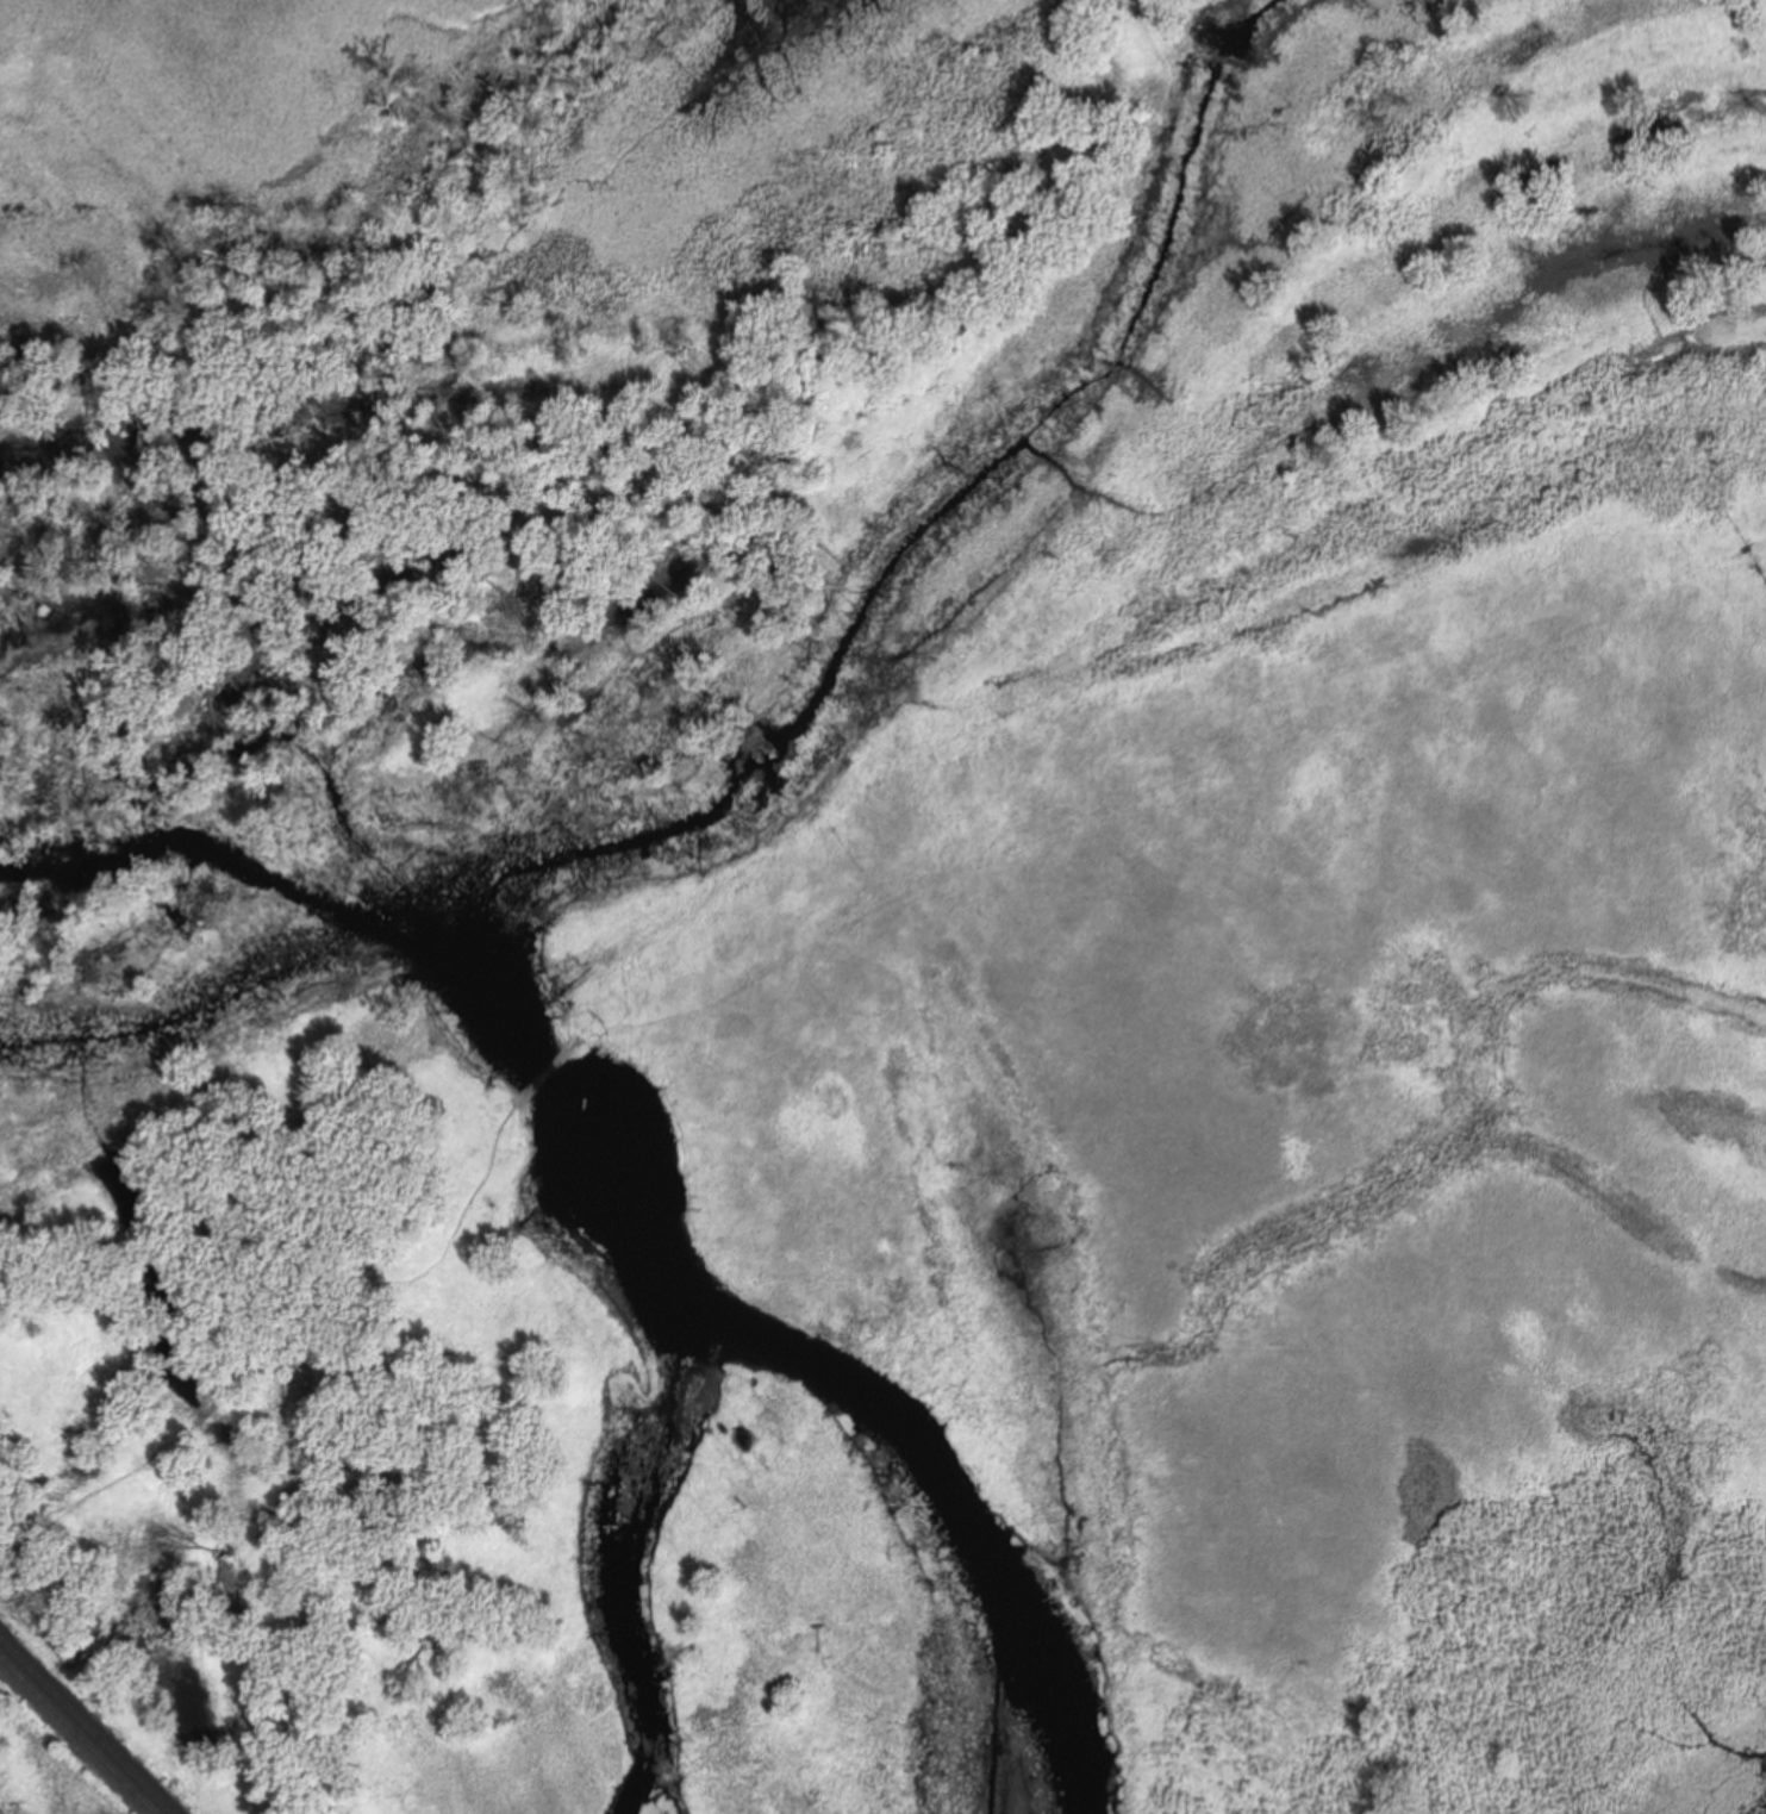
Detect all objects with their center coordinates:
railway: (89, 1722)
railway: (80, 1732)

